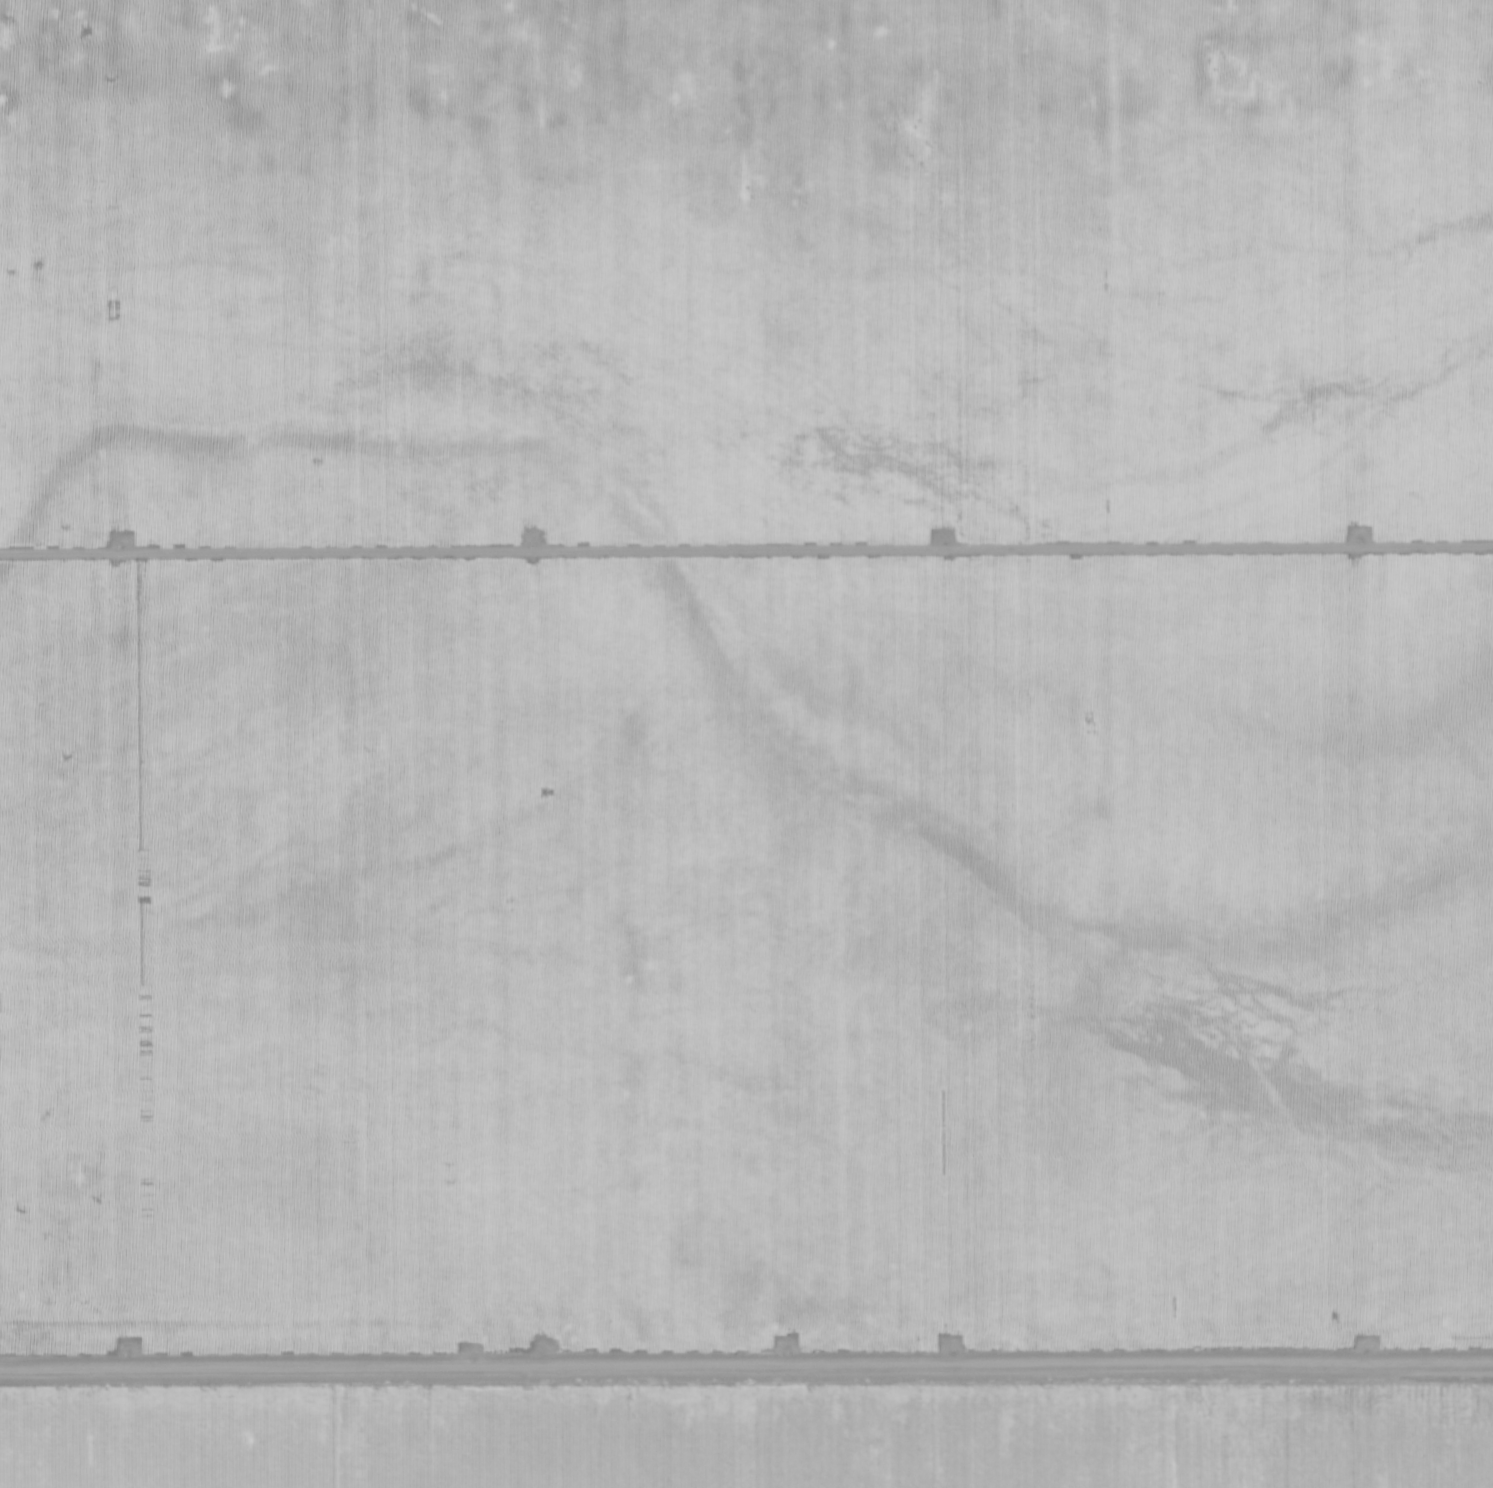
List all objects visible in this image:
crop: (746, 744)

